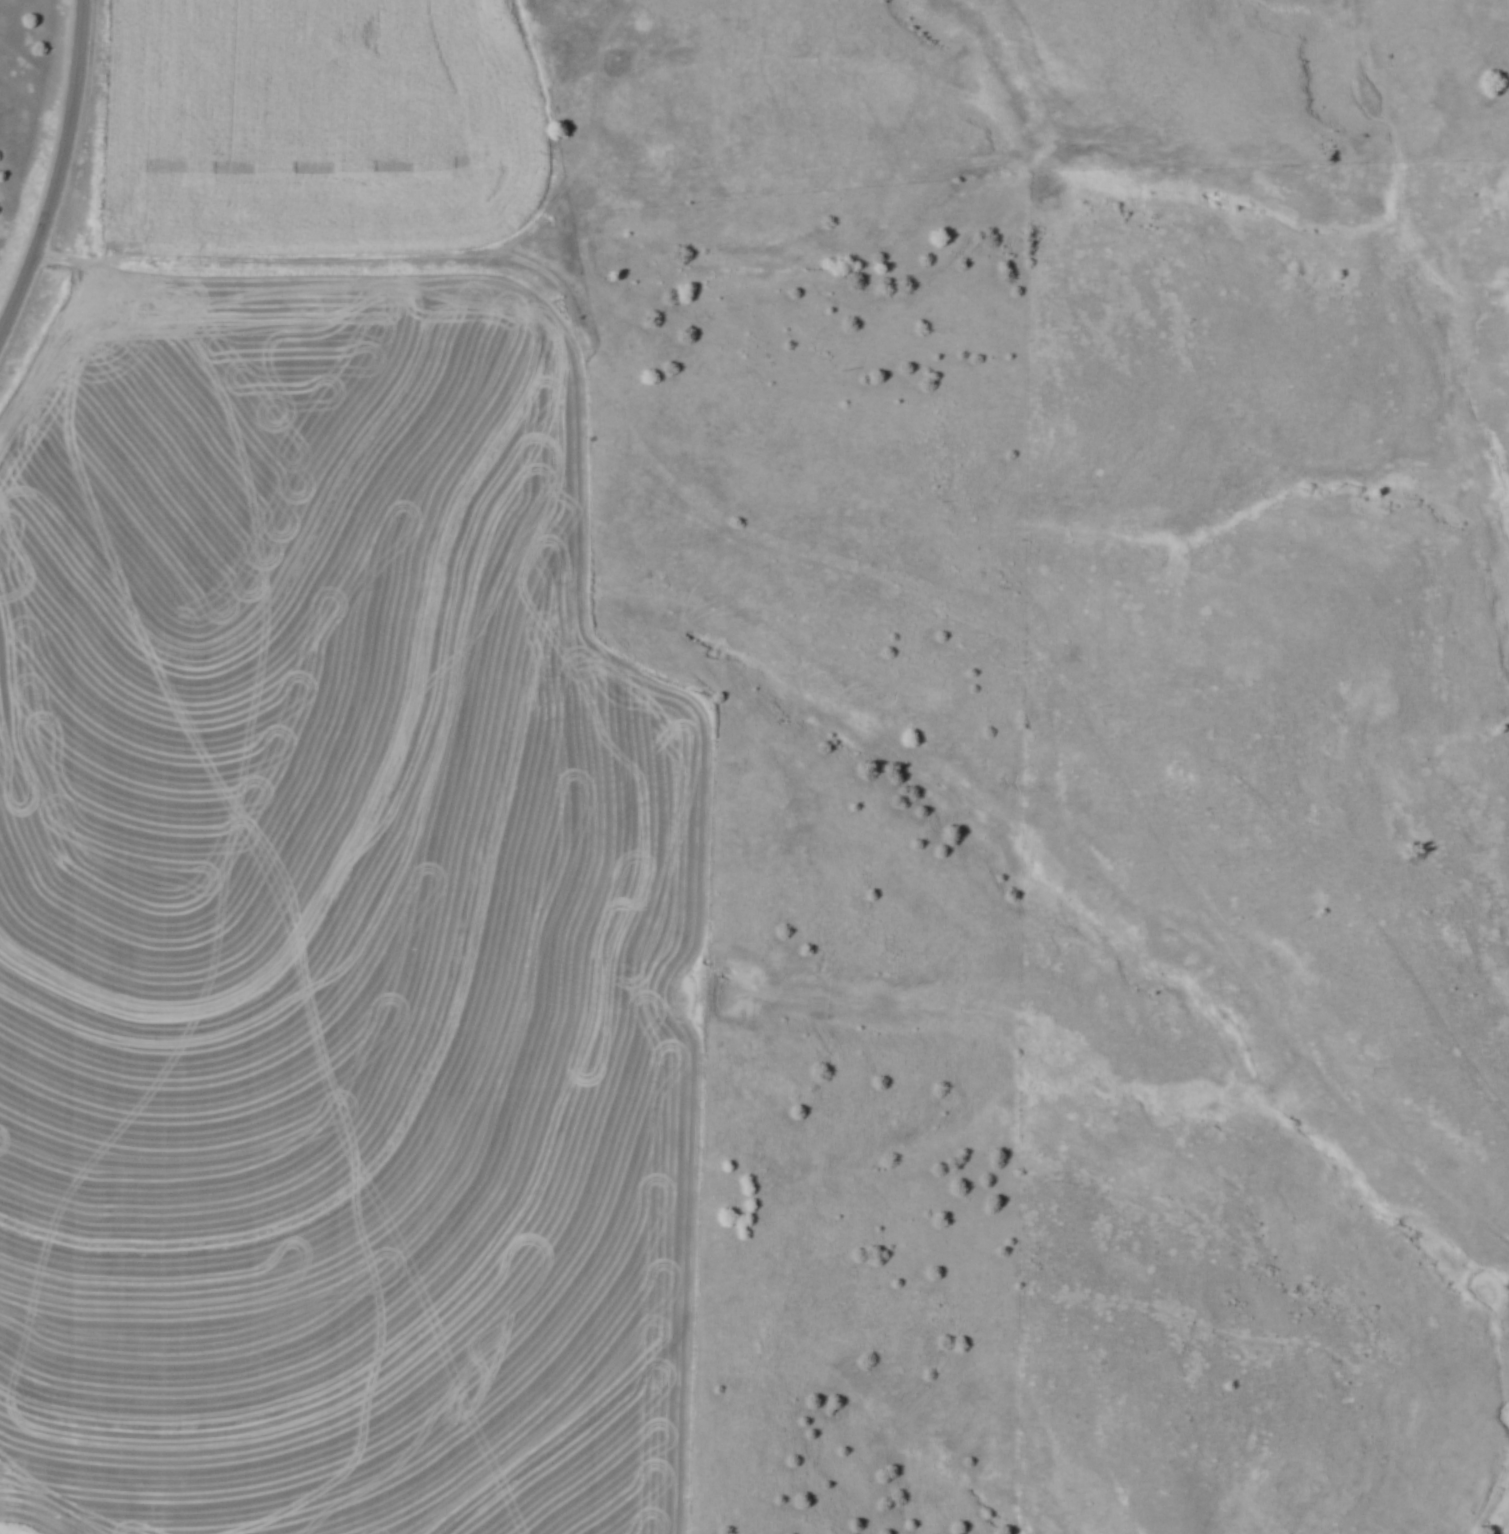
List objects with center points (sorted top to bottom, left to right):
park: (25, 106)
road: (60, 172)
crop: (335, 931)

